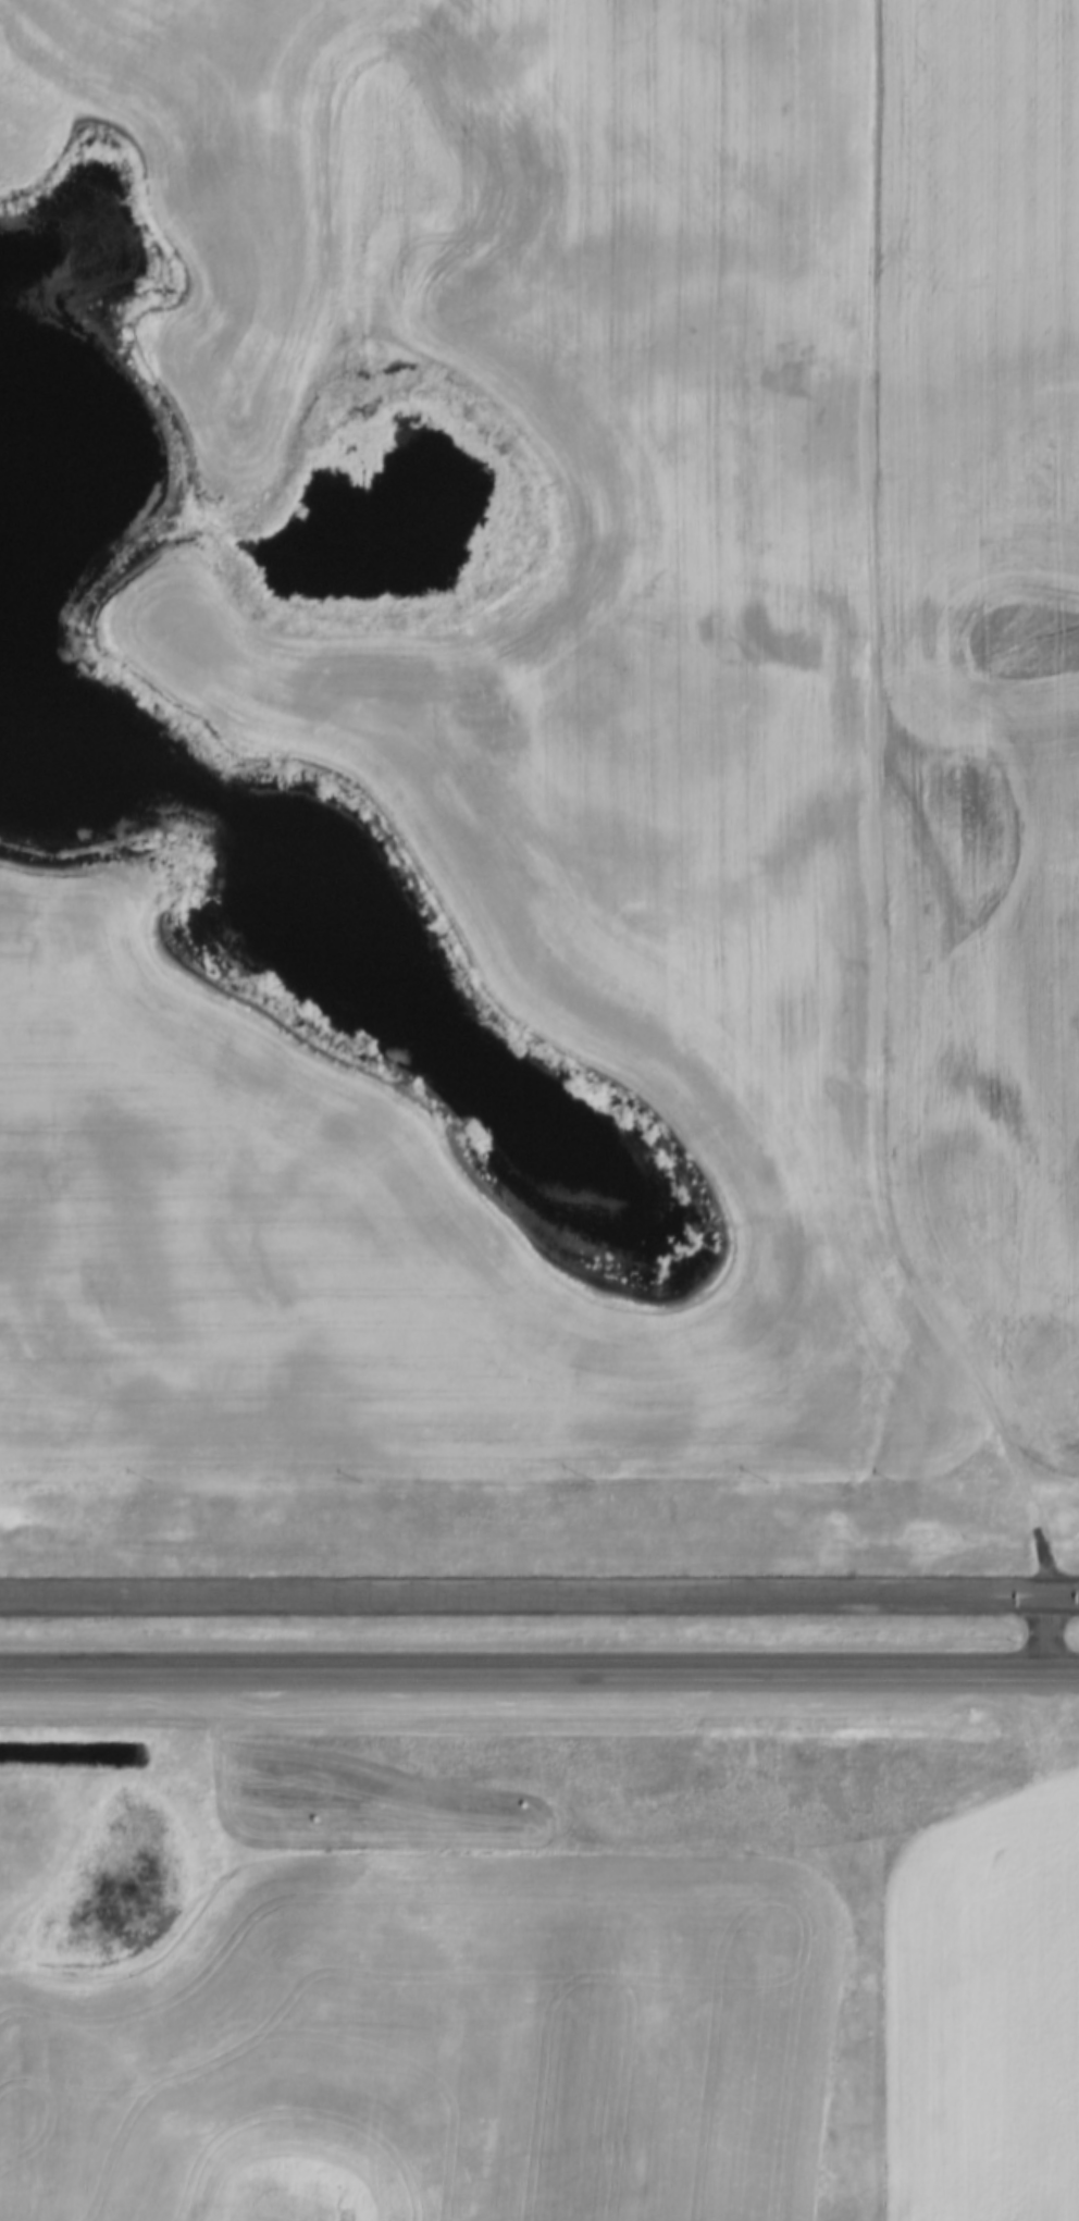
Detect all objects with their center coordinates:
road: (873, 822)
road: (538, 1601)
road: (1046, 1634)
road: (538, 1668)

